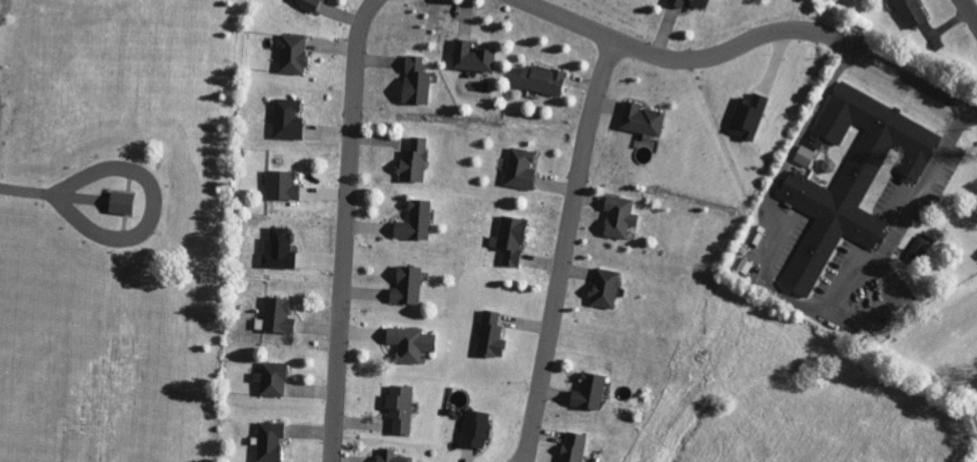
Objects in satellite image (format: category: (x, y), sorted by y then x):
building: (685, 2)
building: (304, 3)
road: (969, 10)
building: (910, 11)
building: (290, 54)
building: (470, 57)
road: (687, 58)
building: (541, 80)
building: (413, 81)
road: (915, 81)
building: (746, 116)
building: (639, 119)
building: (285, 120)
building: (803, 155)
building: (412, 161)
building: (518, 169)
building: (849, 178)
building: (280, 185)
road: (50, 194)
building: (119, 202)
building: (616, 216)
building: (413, 221)
park: (116, 226)
road: (343, 229)
building: (510, 239)
building: (918, 245)
road: (562, 247)
building: (276, 249)
building: (743, 266)
building: (405, 285)
building: (603, 288)
building: (276, 315)
building: (489, 335)
building: (408, 343)
building: (270, 379)
building: (587, 392)
building: (398, 409)
building: (474, 428)
building: (571, 447)
building: (389, 456)

